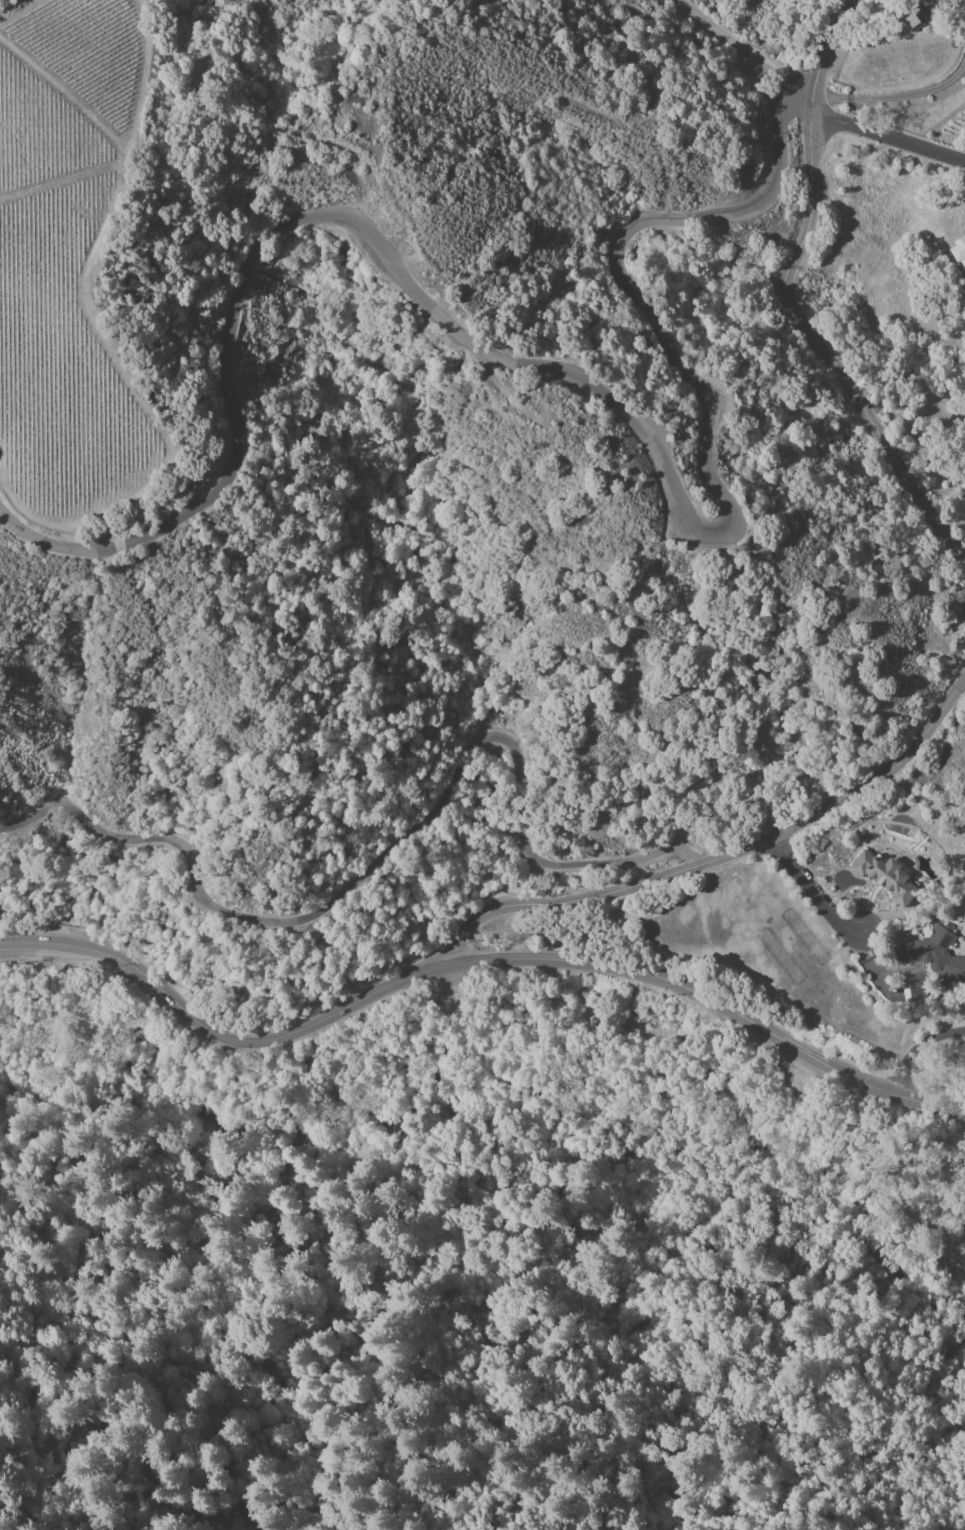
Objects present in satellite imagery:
crop: (16, 8)
building: (913, 21)
road: (729, 47)
road: (897, 97)
road: (888, 138)
building: (959, 249)
road: (782, 301)
road: (559, 366)
road: (389, 849)
road: (717, 857)
building: (885, 876)
road: (815, 889)
building: (934, 956)
building: (915, 993)
road: (712, 1002)
road: (216, 1034)
road: (916, 1047)

